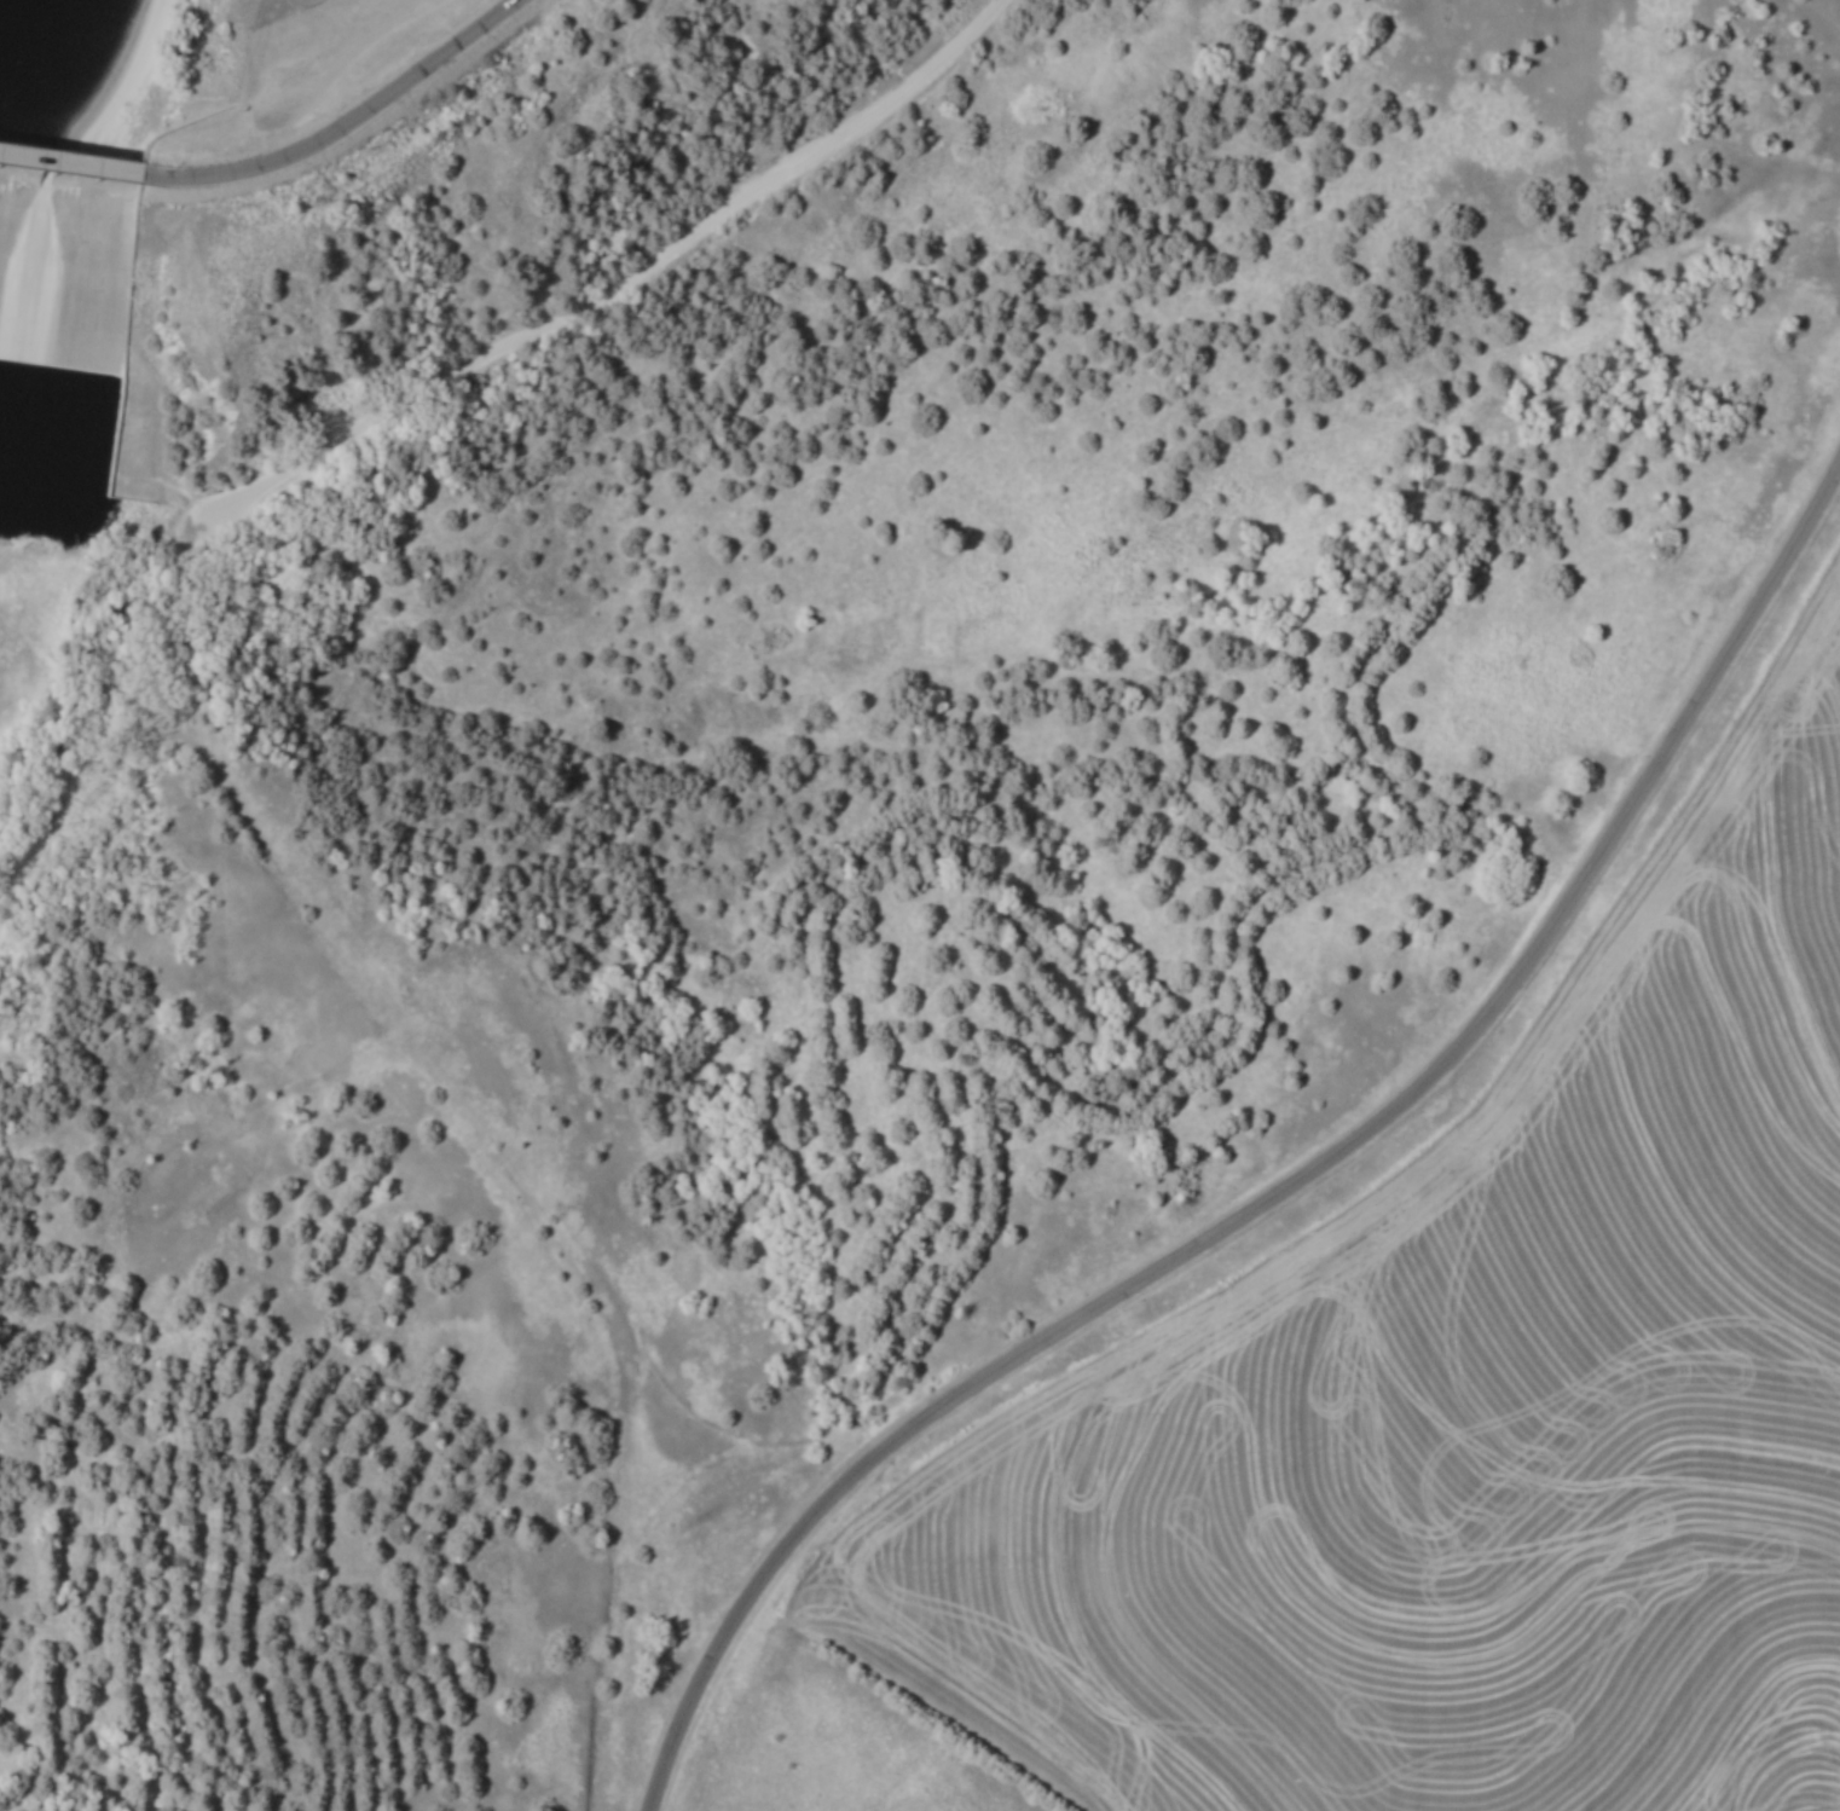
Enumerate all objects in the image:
road: (272, 151)
road: (619, 287)
park: (763, 748)
road: (1289, 1190)
crop: (1466, 1412)

